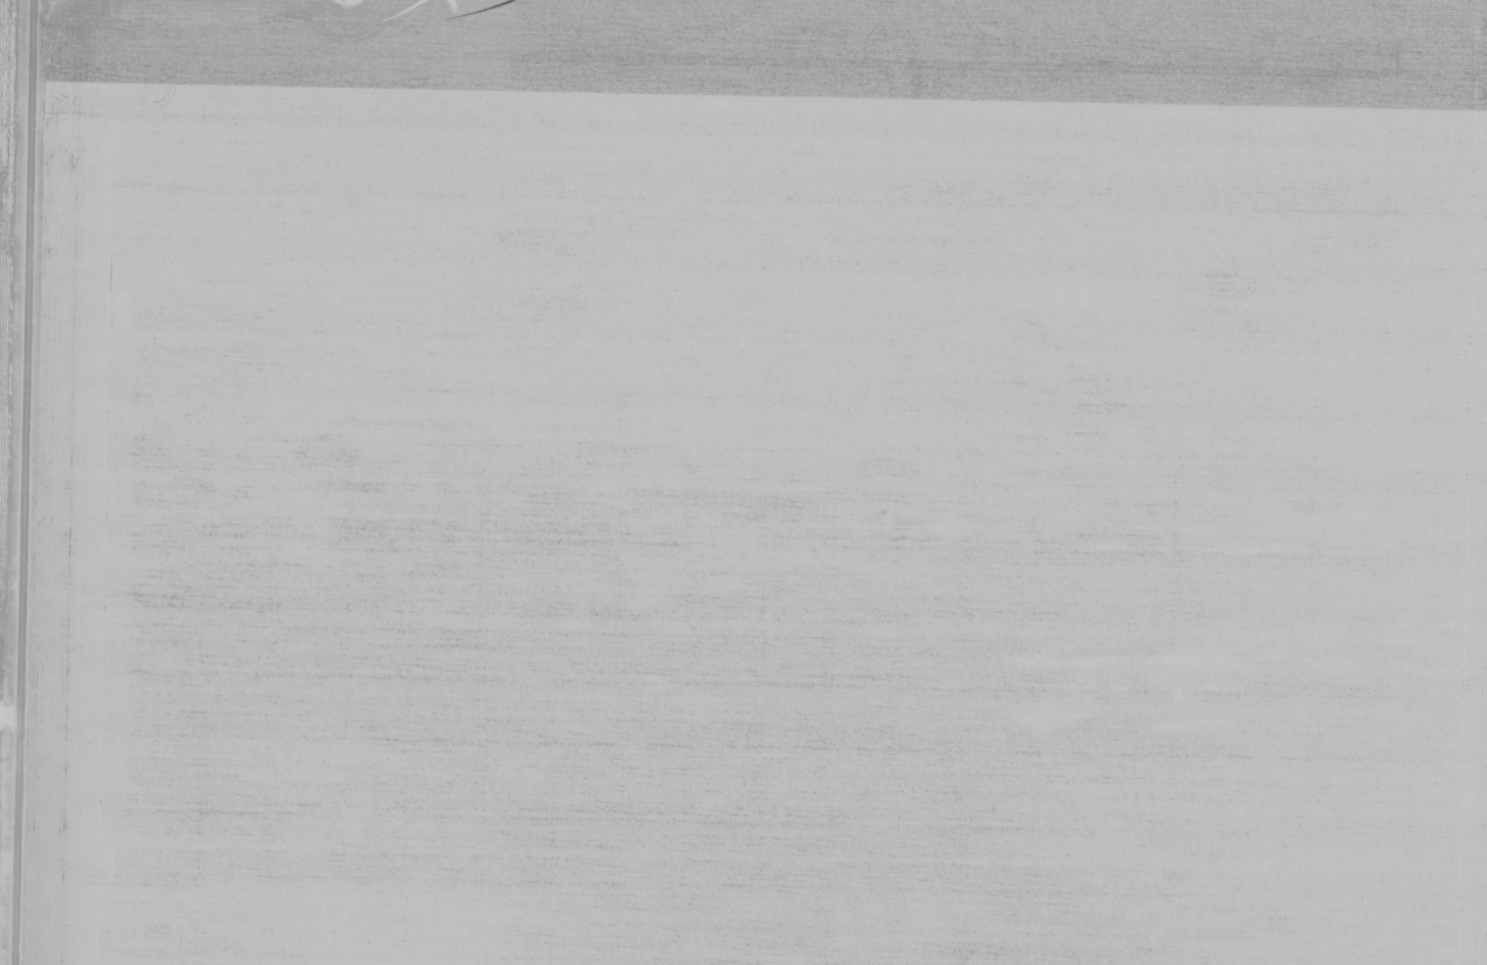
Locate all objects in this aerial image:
road: (17, 482)

